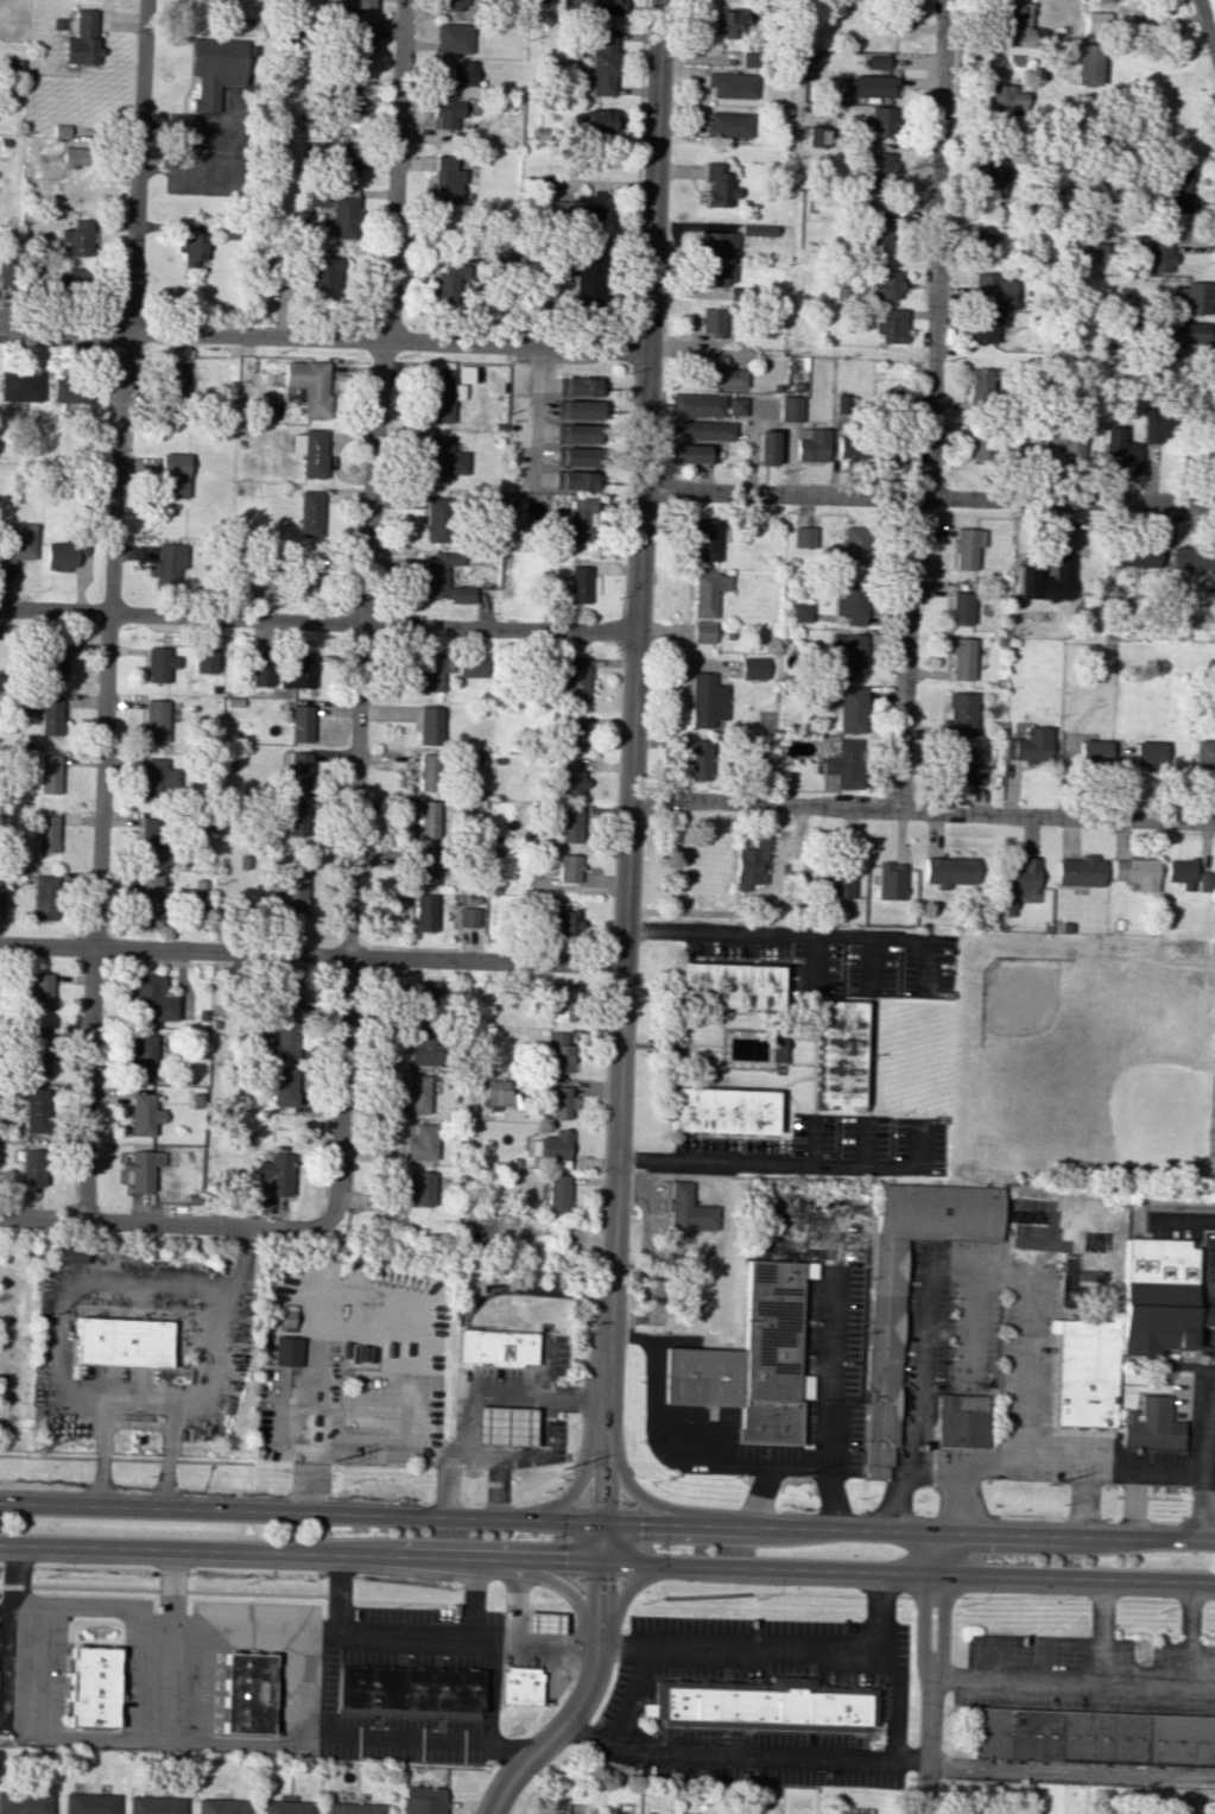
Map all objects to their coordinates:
building: (1103, 0)
building: (355, 4)
building: (453, 5)
building: (594, 7)
building: (1015, 13)
building: (905, 15)
building: (1097, 21)
building: (729, 23)
road: (1205, 31)
building: (453, 38)
building: (82, 39)
building: (355, 48)
building: (747, 58)
building: (602, 62)
building: (878, 62)
building: (1087, 64)
building: (214, 69)
building: (466, 78)
building: (730, 84)
building: (869, 86)
building: (1001, 97)
building: (347, 100)
building: (445, 113)
building: (602, 121)
building: (879, 121)
building: (727, 125)
building: (69, 131)
building: (816, 135)
road: (240, 148)
building: (74, 157)
building: (346, 164)
building: (878, 165)
building: (993, 175)
building: (445, 181)
building: (1178, 185)
building: (717, 187)
building: (316, 196)
building: (587, 207)
building: (342, 214)
building: (757, 229)
building: (877, 229)
building: (77, 238)
building: (717, 244)
building: (982, 244)
building: (190, 247)
building: (1094, 251)
building: (1158, 257)
building: (717, 274)
building: (325, 277)
building: (448, 277)
building: (70, 278)
building: (586, 279)
building: (885, 284)
building: (994, 290)
building: (1197, 296)
building: (713, 322)
building: (892, 327)
building: (986, 327)
building: (1191, 331)
road: (322, 340)
building: (716, 374)
building: (177, 380)
building: (20, 385)
building: (308, 385)
building: (578, 386)
building: (979, 386)
building: (70, 391)
building: (442, 394)
building: (696, 404)
building: (734, 405)
road: (931, 406)
building: (576, 409)
building: (790, 409)
building: (1153, 426)
building: (700, 430)
building: (575, 432)
building: (1064, 440)
building: (811, 443)
building: (980, 445)
building: (765, 447)
building: (847, 447)
building: (1121, 449)
building: (890, 450)
building: (309, 451)
building: (691, 453)
building: (574, 456)
building: (443, 459)
building: (173, 474)
building: (572, 480)
road: (928, 498)
building: (310, 513)
building: (437, 519)
building: (576, 519)
building: (803, 536)
building: (707, 538)
building: (853, 543)
building: (17, 544)
building: (966, 546)
building: (59, 556)
building: (1135, 556)
building: (1192, 558)
building: (170, 563)
building: (438, 573)
building: (1046, 580)
building: (578, 583)
building: (707, 593)
building: (460, 594)
building: (852, 602)
building: (960, 607)
road: (108, 609)
road: (362, 611)
building: (800, 612)
road: (317, 621)
building: (702, 631)
building: (850, 651)
building: (961, 658)
building: (51, 659)
building: (205, 659)
building: (159, 663)
building: (470, 665)
building: (753, 668)
building: (297, 669)
building: (260, 671)
building: (429, 674)
building: (572, 677)
building: (705, 700)
building: (849, 708)
building: (958, 714)
building: (49, 715)
building: (158, 719)
building: (299, 722)
building: (430, 725)
building: (572, 732)
building: (1029, 745)
building: (1094, 751)
building: (1204, 753)
building: (1148, 754)
building: (698, 759)
building: (843, 764)
building: (956, 764)
building: (297, 770)
building: (428, 772)
building: (48, 773)
building: (570, 778)
building: (158, 779)
road: (628, 779)
road: (922, 810)
building: (297, 816)
building: (426, 818)
building: (569, 823)
building: (45, 833)
building: (151, 839)
building: (752, 864)
building: (425, 866)
building: (568, 867)
building: (949, 871)
building: (1081, 871)
building: (1137, 873)
building: (1181, 873)
building: (840, 879)
building: (891, 880)
building: (1019, 881)
building: (1203, 881)
building: (292, 891)
building: (43, 897)
building: (148, 899)
road: (751, 911)
building: (423, 912)
building: (468, 916)
road: (770, 919)
building: (567, 922)
road: (803, 937)
road: (311, 953)
road: (820, 965)
road: (872, 967)
building: (730, 985)
building: (39, 991)
building: (287, 993)
building: (429, 998)
building: (152, 999)
building: (563, 1003)
building: (280, 1043)
building: (424, 1048)
building: (777, 1049)
building: (38, 1050)
building: (558, 1053)
road: (817, 1053)
building: (839, 1053)
road: (871, 1055)
building: (145, 1057)
park: (1084, 1063)
building: (283, 1086)
building: (416, 1093)
building: (496, 1094)
building: (561, 1101)
building: (36, 1110)
building: (722, 1111)
building: (144, 1114)
road: (814, 1142)
building: (420, 1143)
road: (869, 1143)
building: (553, 1149)
building: (32, 1167)
building: (141, 1168)
road: (790, 1168)
building: (274, 1173)
building: (418, 1189)
building: (556, 1192)
building: (686, 1212)
road: (165, 1224)
building: (70, 1253)
road: (1012, 1275)
road: (75, 1290)
building: (1159, 1296)
road: (340, 1302)
road: (211, 1327)
building: (124, 1341)
building: (495, 1346)
building: (286, 1351)
building: (882, 1354)
building: (752, 1360)
road: (824, 1369)
building: (1083, 1371)
road: (495, 1390)
road: (134, 1415)
building: (960, 1421)
building: (502, 1426)
building: (1150, 1426)
road: (920, 1428)
road: (648, 1431)
power tower: (21, 1449)
road: (531, 1455)
power tower: (328, 1459)
road: (1204, 1459)
road: (795, 1465)
power tower: (558, 1466)
road: (936, 1468)
road: (580, 1469)
road: (1080, 1469)
power tower: (789, 1475)
power tower: (1045, 1481)
road: (449, 1484)
road: (500, 1487)
road: (640, 1496)
road: (892, 1497)
road: (1081, 1505)
road: (1134, 1506)
road: (953, 1518)
traffic signals: (601, 1524)
road: (607, 1524)
traffic signals: (600, 1561)
road: (607, 1561)
road: (552, 1580)
road: (632, 1588)
road: (167, 1589)
road: (171, 1599)
road: (336, 1610)
road: (885, 1612)
building: (544, 1624)
gas station: (544, 1624)
road: (0, 1631)
road: (1101, 1631)
road: (1190, 1635)
road: (443, 1636)
road: (515, 1642)
road: (792, 1651)
road: (929, 1674)
road: (1071, 1685)
building: (90, 1686)
building: (517, 1686)
gas station: (517, 1686)
road: (491, 1688)
road: (297, 1689)
building: (407, 1690)
building: (246, 1693)
road: (191, 1695)
road: (631, 1696)
road: (578, 1702)
building: (760, 1705)
road: (143, 1724)
building: (1093, 1739)
road: (413, 1746)
road: (741, 1755)
road: (1070, 1769)
building: (422, 1800)
building: (24, 1802)
building: (88, 1803)
building: (153, 1804)
building: (220, 1806)
building: (286, 1807)
building: (352, 1808)
building: (555, 1813)

